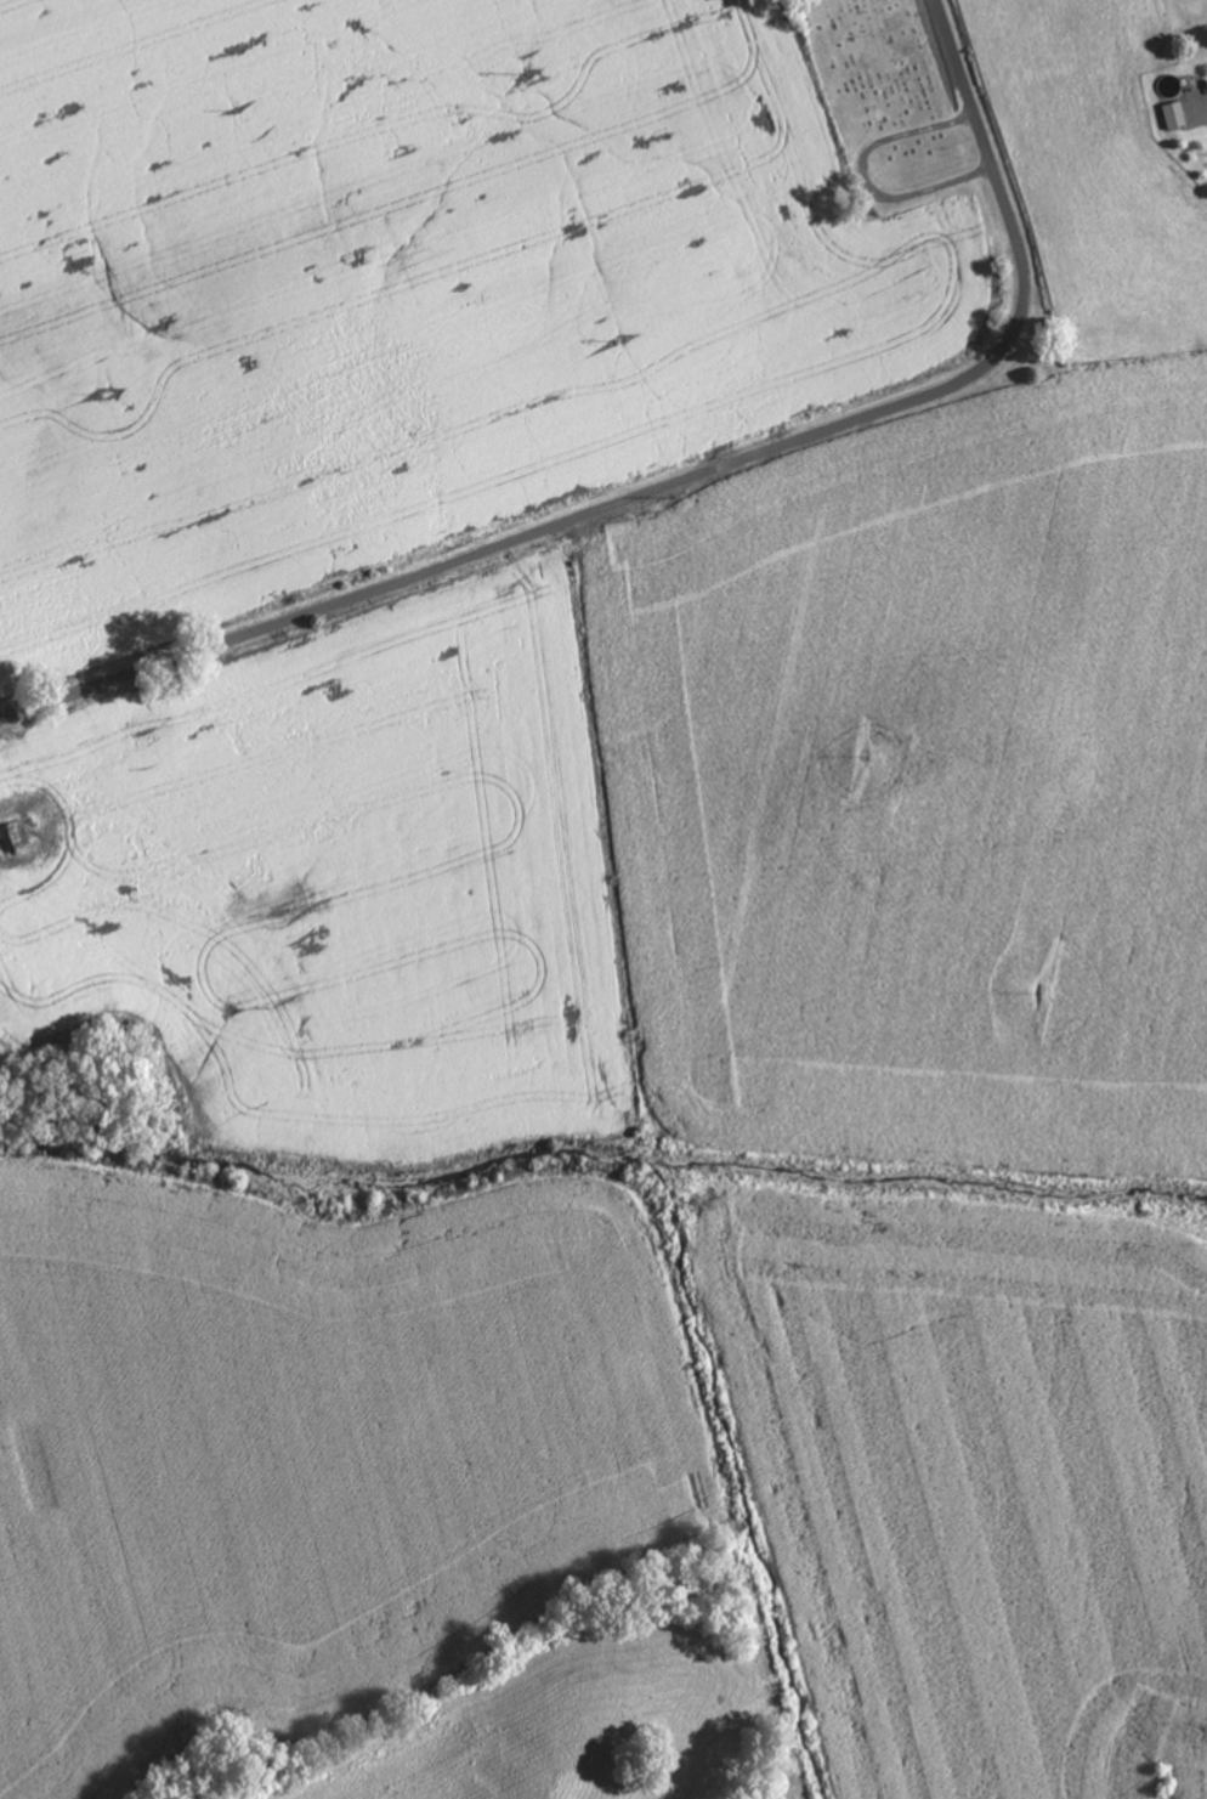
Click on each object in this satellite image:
park: (886, 102)
building: (1172, 118)
road: (679, 483)

